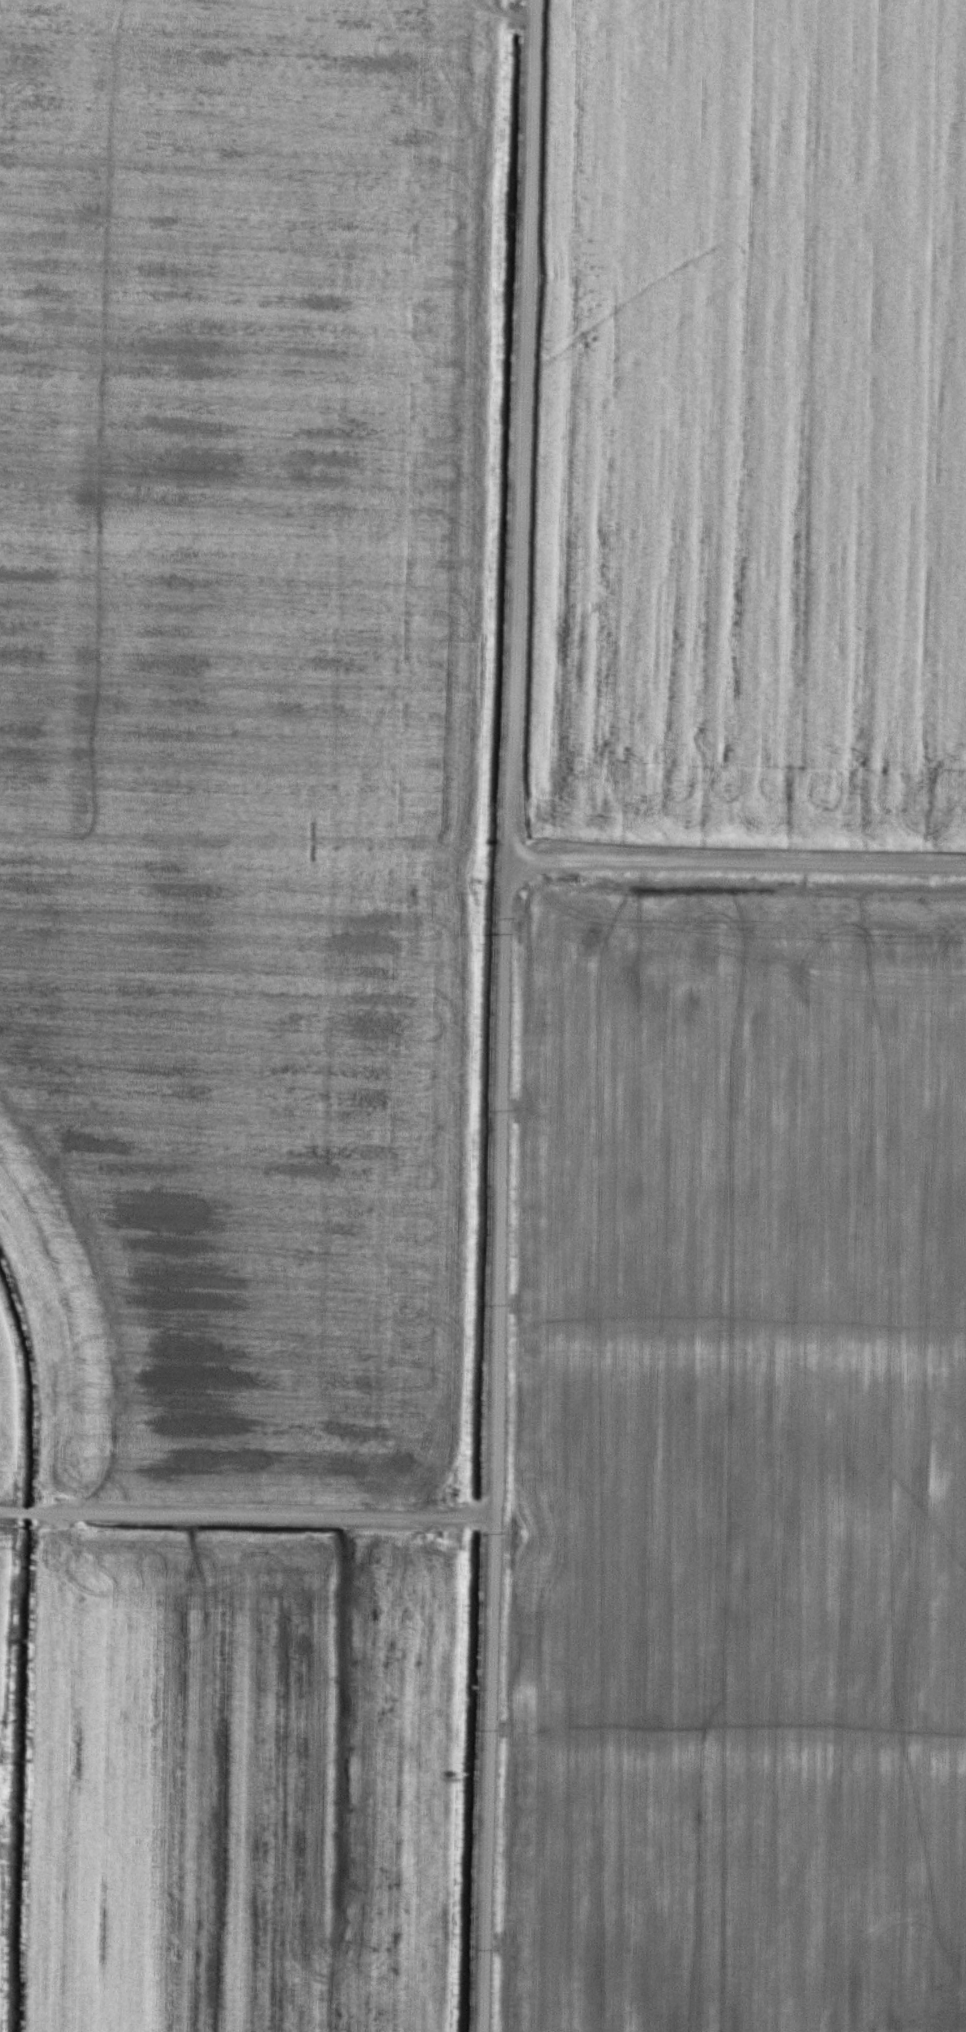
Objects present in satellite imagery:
road: (736, 862)
road: (505, 1015)
road: (248, 1512)

